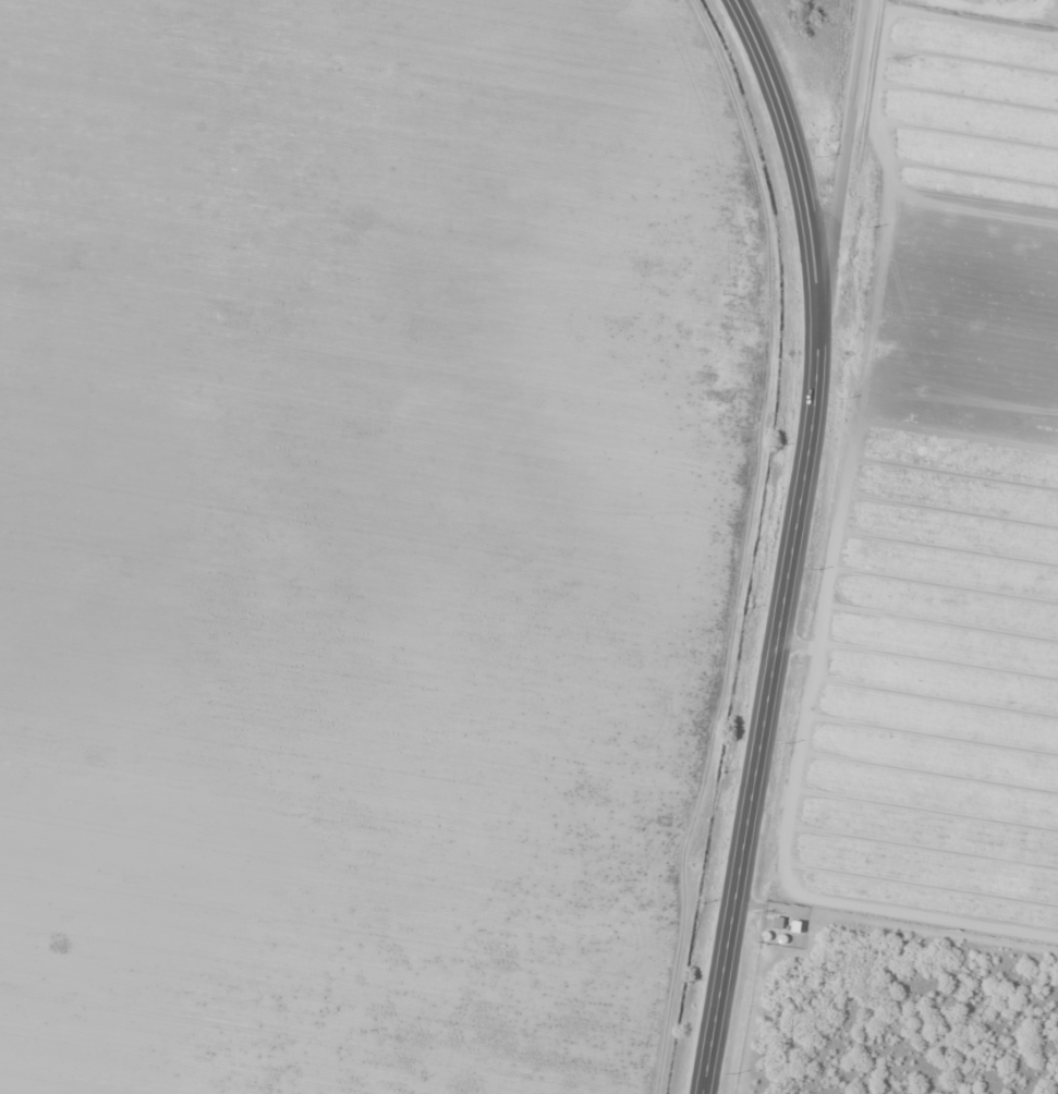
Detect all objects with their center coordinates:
building: (1004, 1)
road: (842, 158)
road: (791, 543)

